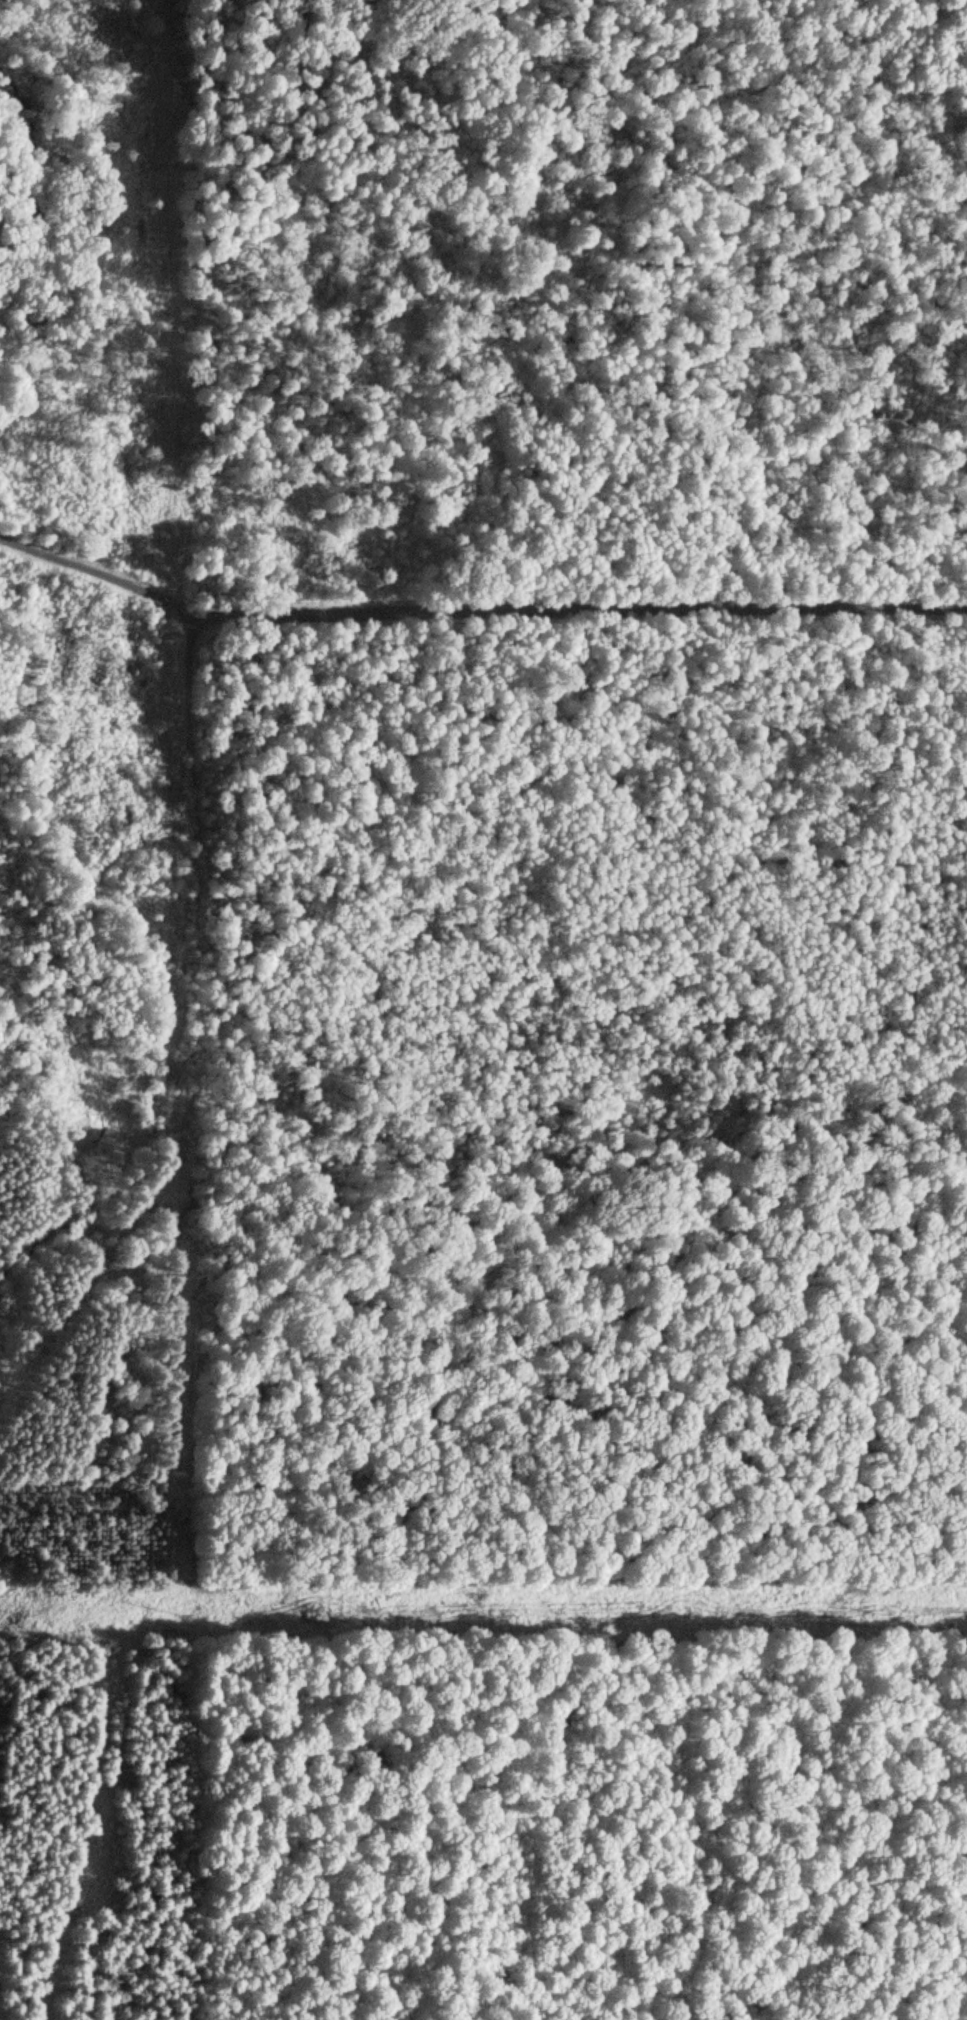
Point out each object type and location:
road: (681, 253)
road: (56, 606)
road: (496, 642)

